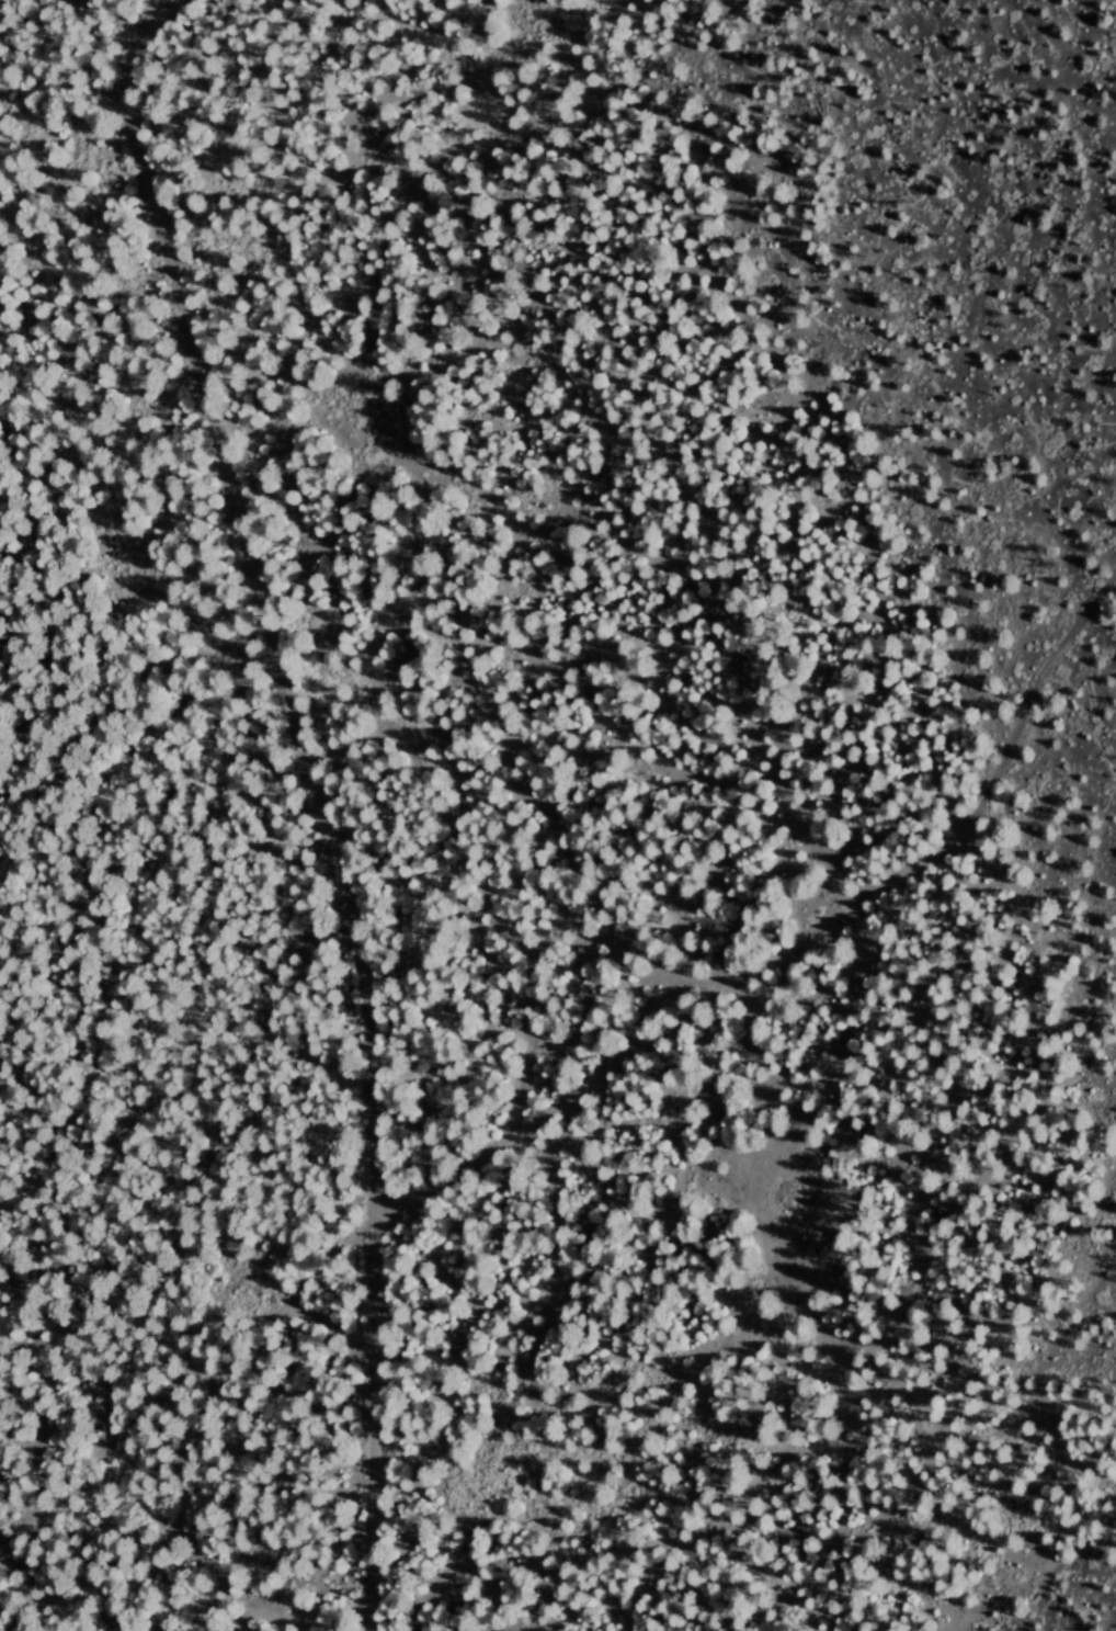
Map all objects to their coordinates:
road: (258, 598)
road: (786, 940)
road: (369, 1420)

